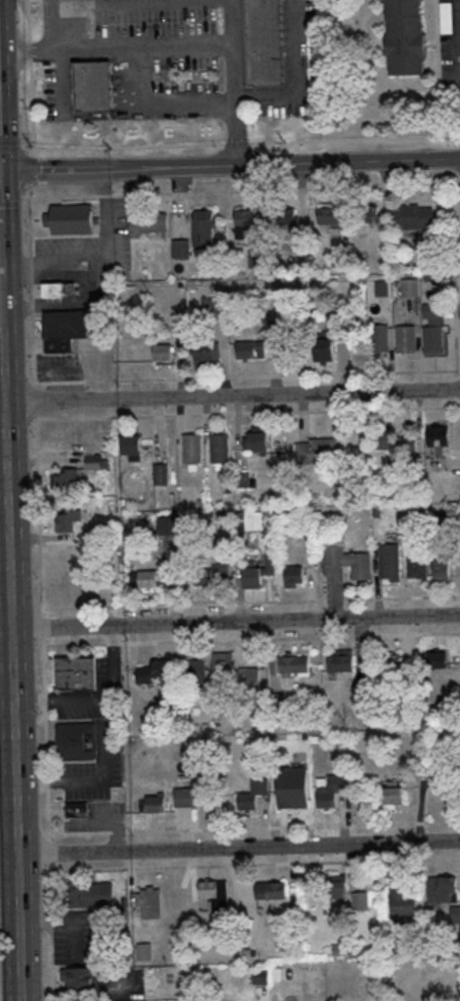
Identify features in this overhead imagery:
road: (75, 10)
building: (445, 17)
building: (407, 38)
road: (209, 41)
building: (264, 43)
road: (233, 70)
road: (32, 78)
building: (91, 86)
road: (172, 101)
road: (234, 131)
road: (354, 141)
road: (237, 144)
road: (122, 147)
road: (12, 149)
road: (230, 165)
road: (31, 173)
road: (236, 192)
road: (10, 198)
building: (369, 214)
building: (328, 215)
building: (414, 219)
building: (72, 220)
building: (149, 225)
building: (245, 225)
building: (204, 229)
building: (181, 249)
building: (431, 255)
road: (0, 258)
road: (454, 279)
road: (31, 286)
building: (410, 288)
building: (381, 289)
building: (58, 290)
road: (1, 306)
building: (64, 330)
building: (378, 338)
building: (406, 340)
building: (434, 340)
building: (251, 351)
building: (324, 352)
building: (162, 353)
building: (204, 353)
road: (35, 391)
road: (232, 396)
building: (437, 437)
building: (255, 442)
building: (391, 442)
building: (132, 446)
building: (193, 449)
building: (220, 450)
building: (315, 451)
building: (94, 463)
building: (161, 475)
building: (67, 480)
building: (242, 481)
road: (39, 518)
building: (248, 520)
building: (66, 521)
building: (167, 526)
building: (349, 562)
building: (391, 562)
building: (418, 564)
building: (441, 571)
building: (257, 573)
building: (294, 576)
building: (148, 580)
road: (251, 604)
road: (5, 606)
road: (235, 622)
road: (42, 628)
road: (251, 640)
road: (5, 641)
road: (44, 643)
building: (434, 660)
building: (343, 663)
road: (11, 666)
building: (295, 666)
building: (195, 670)
building: (153, 672)
building: (75, 673)
building: (236, 676)
road: (92, 697)
road: (6, 710)
building: (76, 742)
road: (46, 744)
building: (293, 789)
building: (333, 792)
building: (253, 796)
building: (186, 798)
building: (392, 799)
building: (156, 805)
building: (76, 809)
road: (254, 829)
road: (237, 848)
road: (49, 854)
road: (8, 855)
road: (255, 865)
building: (339, 888)
building: (441, 888)
building: (214, 893)
building: (271, 893)
building: (91, 895)
building: (361, 902)
building: (150, 904)
building: (404, 904)
road: (51, 934)
building: (143, 951)
building: (77, 977)

